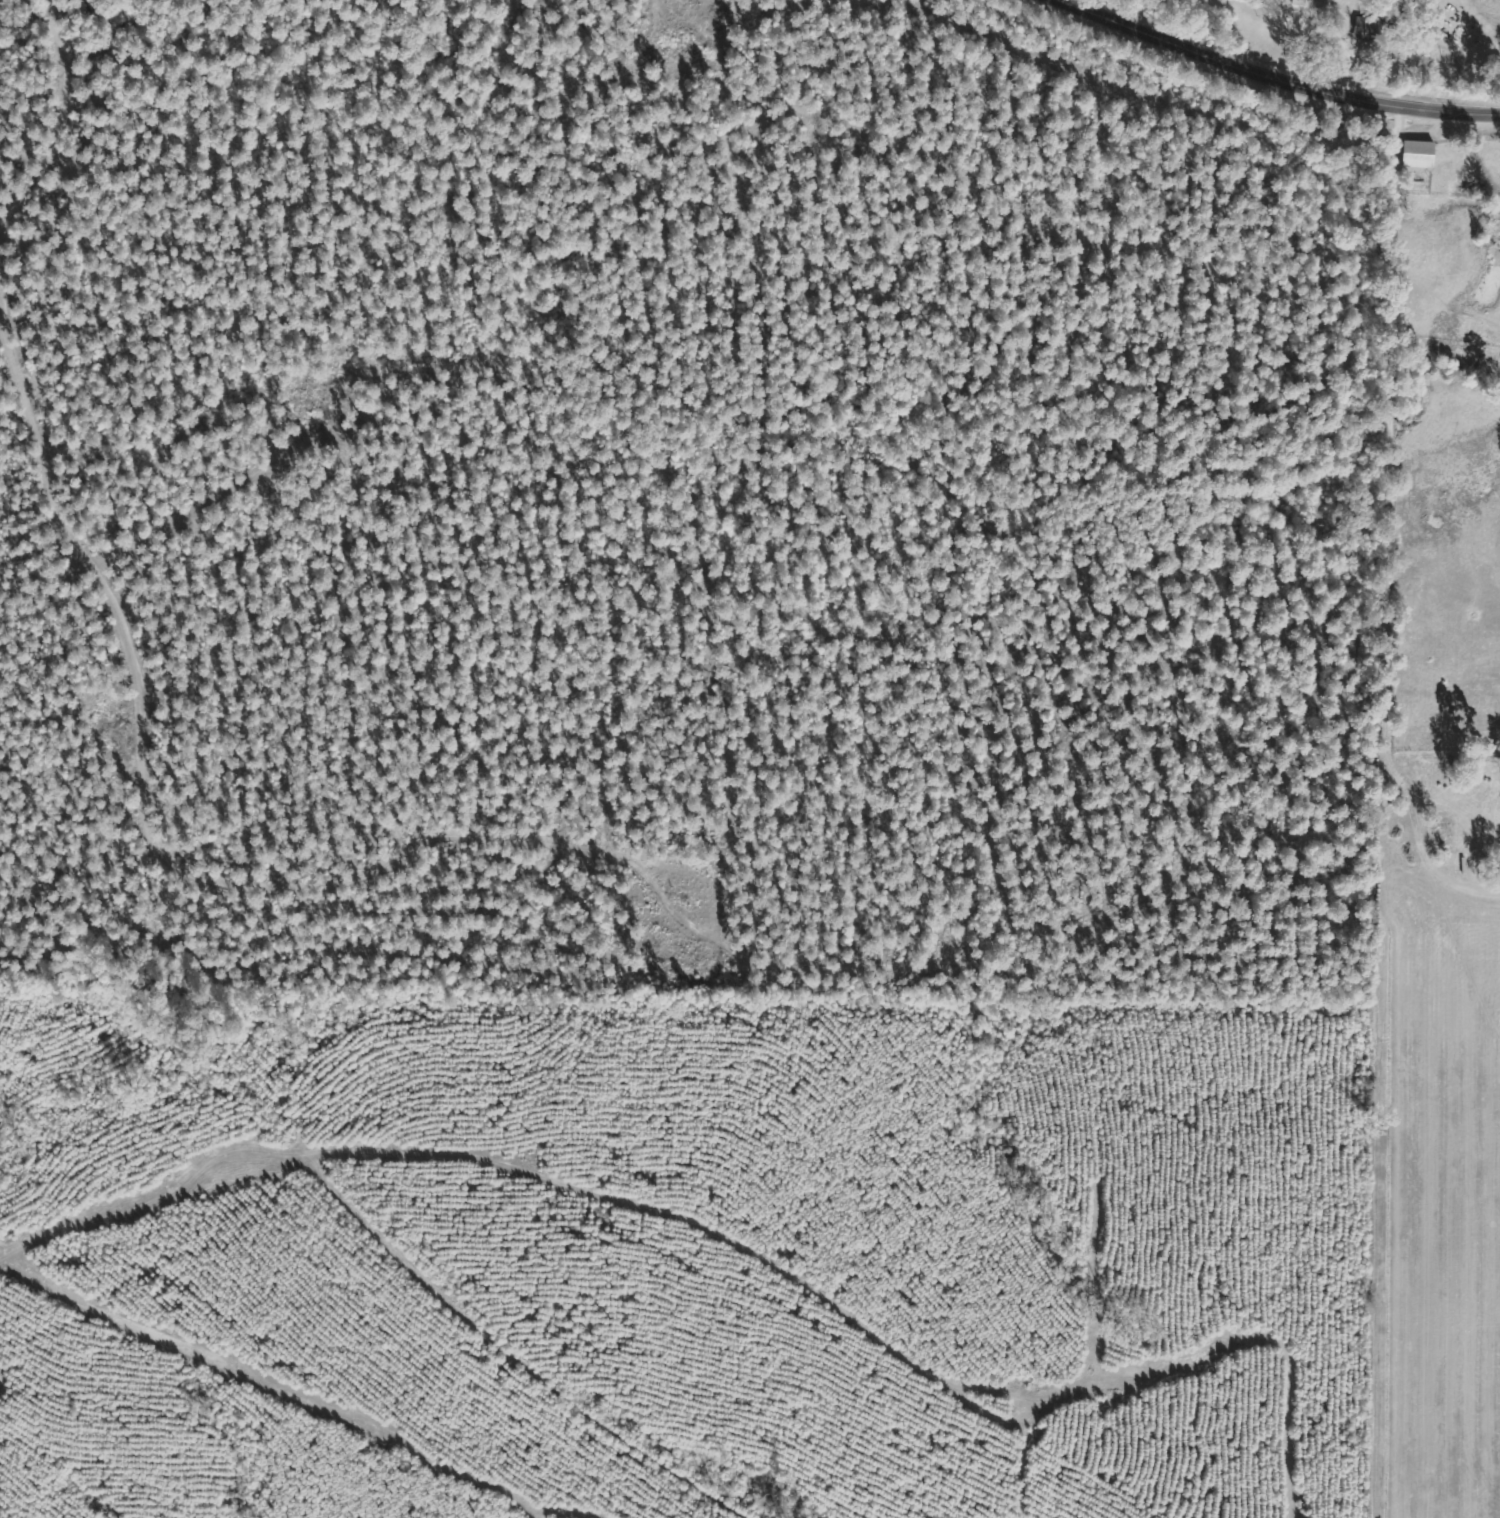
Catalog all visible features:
road: (1276, 78)
building: (1422, 153)
road: (1401, 438)

